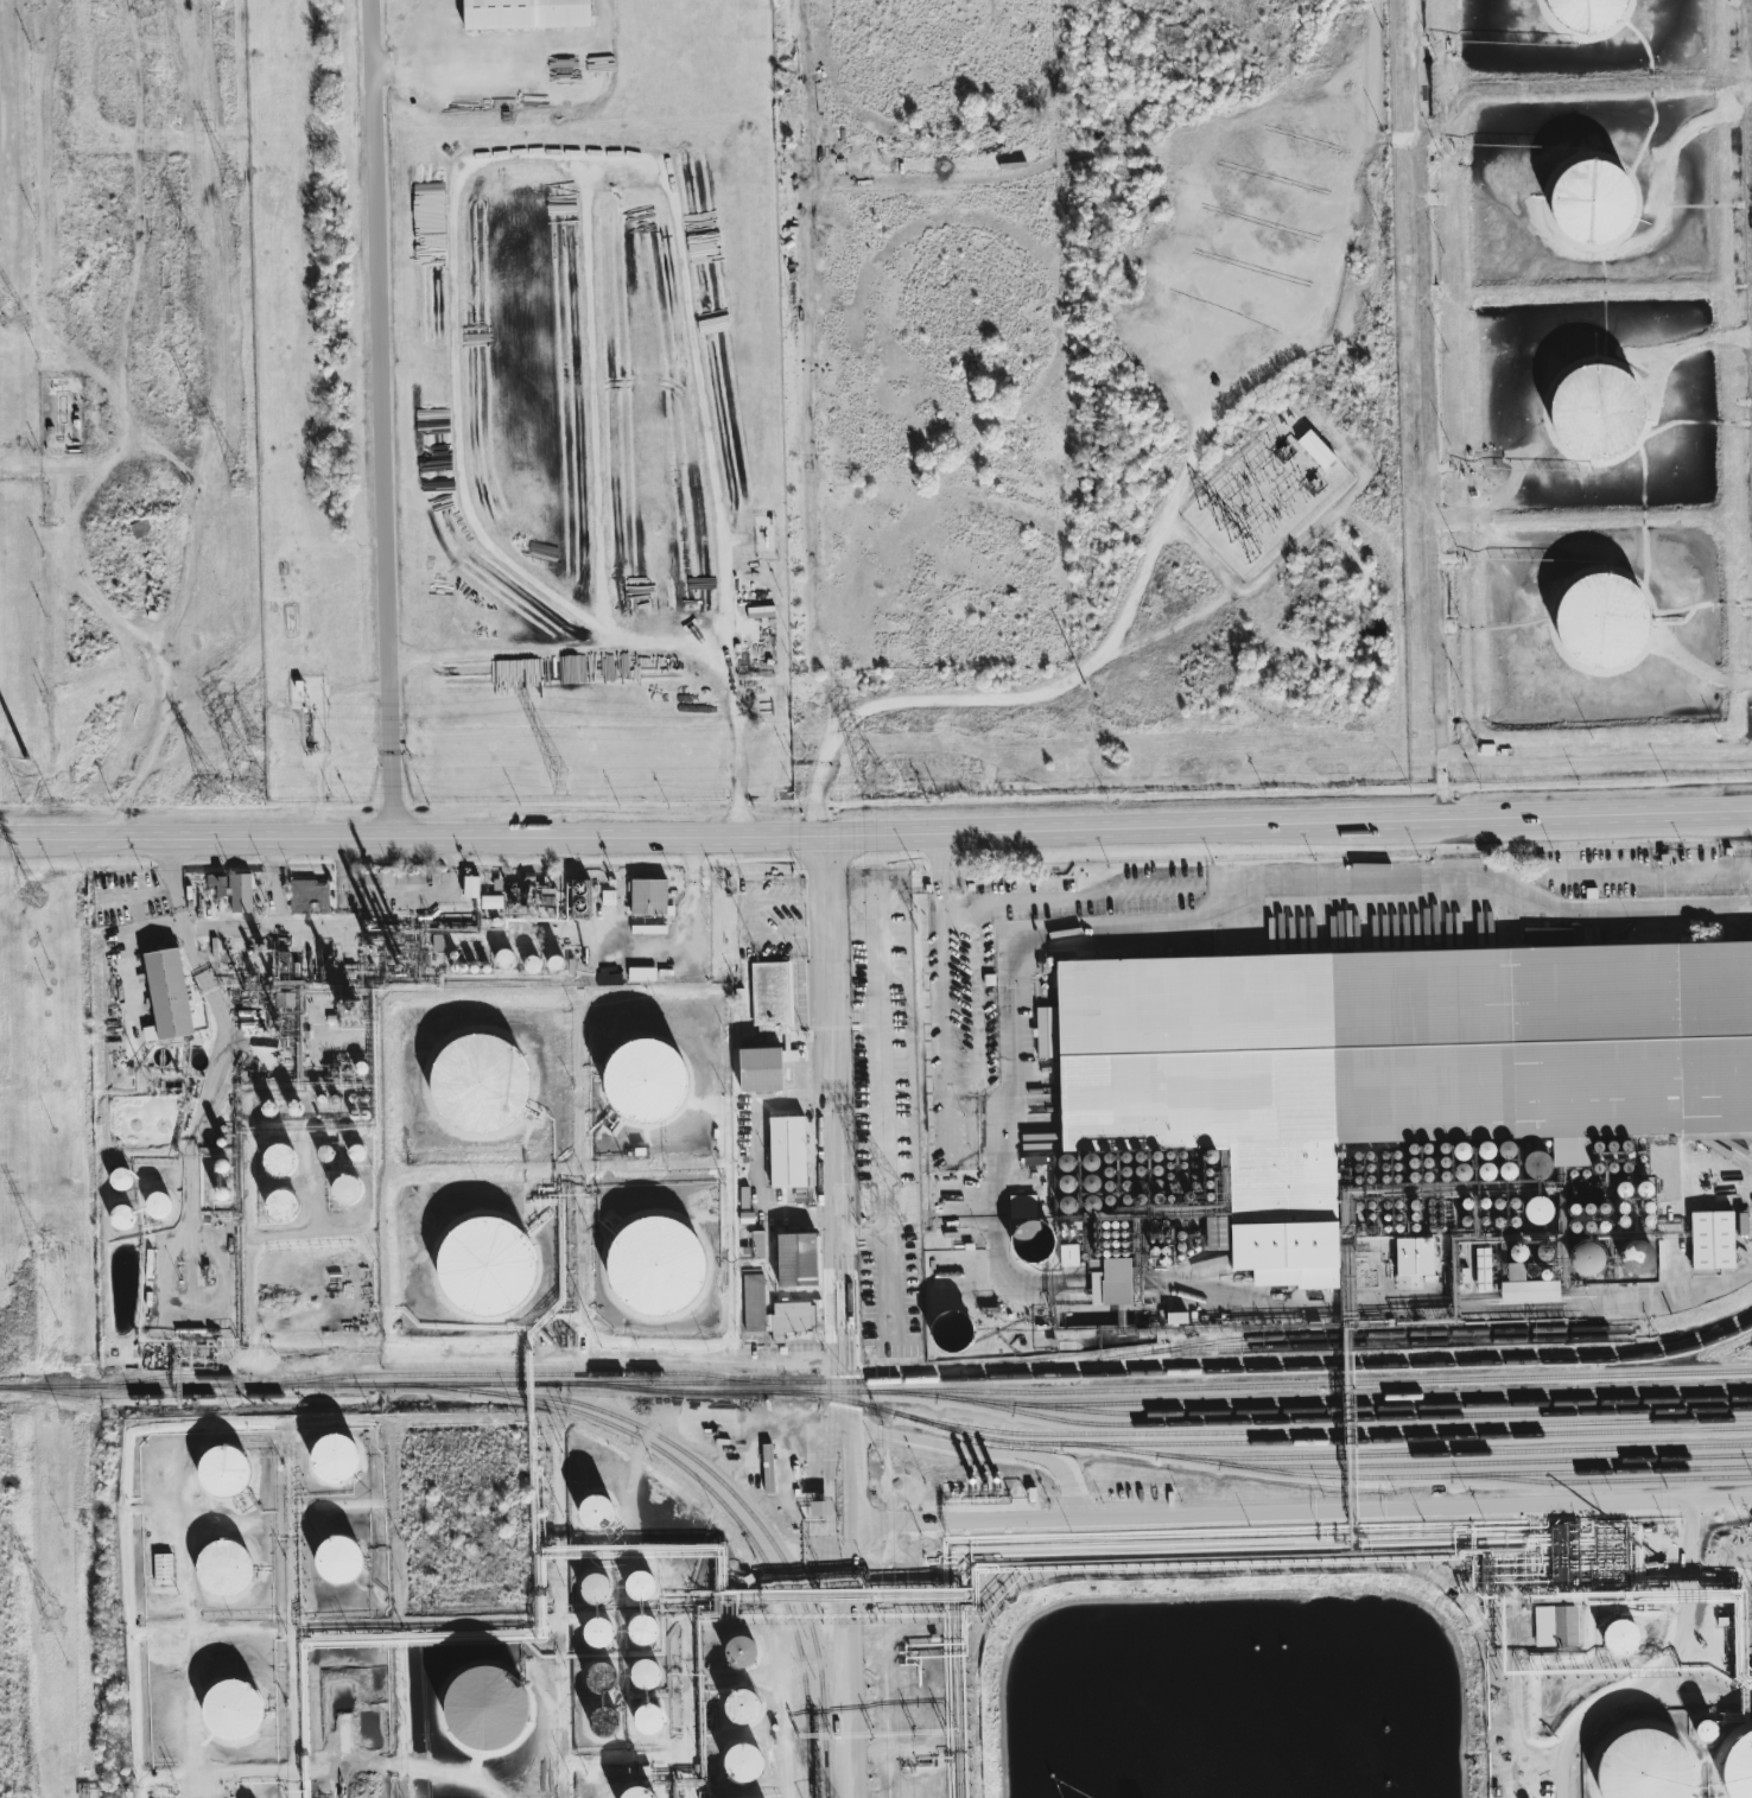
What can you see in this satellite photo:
building: (519, 13)
building: (1579, 13)
road: (488, 104)
power tower: (239, 180)
building: (1581, 199)
power tower: (203, 262)
building: (710, 325)
power tower: (14, 330)
building: (1588, 411)
road: (386, 417)
road: (1439, 428)
power tower: (209, 430)
building: (1312, 450)
road: (37, 466)
power tower: (248, 479)
road: (1464, 516)
road: (1487, 522)
building: (757, 611)
building: (1592, 622)
road: (652, 646)
building: (570, 669)
road: (817, 681)
road: (167, 728)
power tower: (27, 762)
road: (325, 773)
power tower: (880, 775)
power tower: (210, 790)
road: (1245, 821)
road: (369, 836)
road: (345, 873)
road: (1678, 873)
building: (234, 890)
building: (475, 892)
power tower: (34, 896)
building: (304, 896)
building: (571, 896)
building: (643, 896)
building: (605, 897)
road: (1350, 911)
road: (274, 927)
road: (318, 927)
building: (643, 928)
road: (652, 948)
building: (495, 957)
building: (541, 964)
building: (637, 973)
road: (950, 985)
building: (159, 991)
building: (767, 997)
road: (223, 1034)
road: (877, 1054)
building: (1391, 1057)
building: (757, 1067)
building: (647, 1081)
building: (483, 1082)
building: (286, 1107)
building: (1422, 1148)
building: (1500, 1149)
building: (1480, 1150)
building: (348, 1151)
building: (782, 1151)
building: (1455, 1151)
building: (268, 1158)
building: (1528, 1161)
building: (214, 1165)
building: (1456, 1170)
building: (114, 1178)
building: (1062, 1183)
building: (338, 1189)
building: (742, 1197)
road: (1677, 1199)
building: (272, 1203)
power tower: (884, 1203)
building: (153, 1205)
building: (1061, 1205)
building: (1598, 1207)
building: (1643, 1207)
building: (1532, 1209)
building: (114, 1216)
building: (1738, 1222)
building: (1022, 1226)
building: (1214, 1233)
road: (301, 1237)
building: (1708, 1239)
road: (1003, 1243)
building: (755, 1244)
building: (1510, 1251)
building: (1535, 1252)
power tower: (43, 1256)
building: (1067, 1256)
building: (1411, 1257)
building: (1630, 1257)
building: (1580, 1258)
building: (788, 1259)
building: (488, 1269)
building: (1480, 1269)
building: (658, 1270)
building: (1509, 1271)
building: (1462, 1275)
building: (1106, 1282)
building: (1134, 1285)
building: (1525, 1291)
road: (1667, 1296)
building: (769, 1311)
building: (1172, 1317)
building: (942, 1329)
railway: (1291, 1336)
railway: (1389, 1342)
railway: (1664, 1352)
road: (535, 1366)
railway: (513, 1374)
railway: (158, 1378)
railway: (786, 1381)
railway: (1258, 1385)
railway: (182, 1396)
railway: (1308, 1398)
railway: (1382, 1406)
road: (763, 1417)
railway: (1340, 1417)
railway: (649, 1430)
railway: (1157, 1431)
railway: (1405, 1435)
railway: (1452, 1451)
building: (338, 1459)
railway: (1484, 1461)
building: (227, 1474)
railway: (1320, 1475)
railway: (699, 1481)
railway: (1599, 1481)
building: (812, 1507)
road: (1300, 1510)
building: (586, 1512)
building: (1560, 1549)
building: (342, 1562)
building: (158, 1569)
building: (229, 1569)
building: (641, 1594)
building: (596, 1595)
road: (561, 1606)
power tower: (50, 1619)
building: (1551, 1625)
road: (377, 1627)
building: (588, 1632)
building: (1614, 1637)
building: (645, 1638)
building: (601, 1641)
building: (735, 1651)
road: (1668, 1672)
building: (589, 1675)
building: (648, 1682)
building: (601, 1683)
building: (468, 1707)
building: (734, 1707)
building: (235, 1711)
railway: (824, 1714)
road: (195, 1715)
building: (591, 1721)
building: (649, 1727)
building: (605, 1729)
building: (1699, 1732)
railway: (807, 1749)
building: (735, 1762)
road: (628, 1765)
building: (1648, 1765)
building: (1741, 1766)
road: (212, 1775)
road: (690, 1780)
building: (628, 1792)

